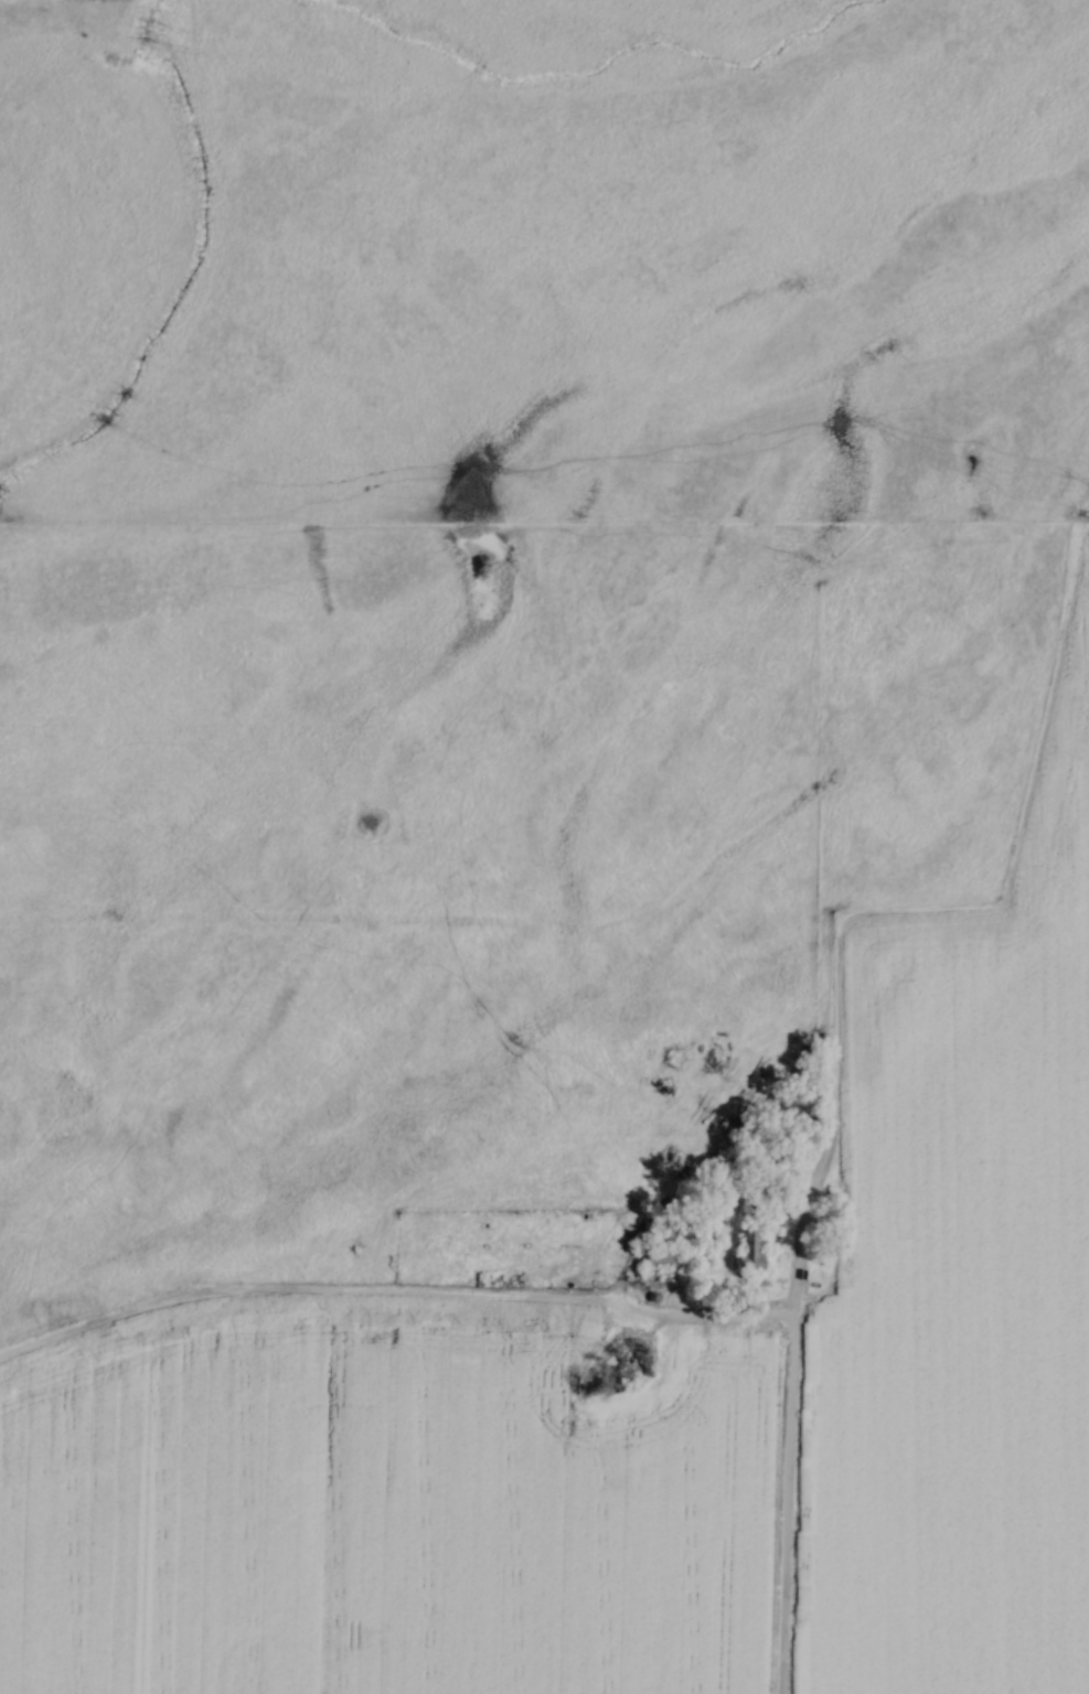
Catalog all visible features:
river: (598, 67)
river: (186, 277)
building: (746, 1248)
building: (659, 1256)
building: (482, 1339)
road: (787, 1475)

